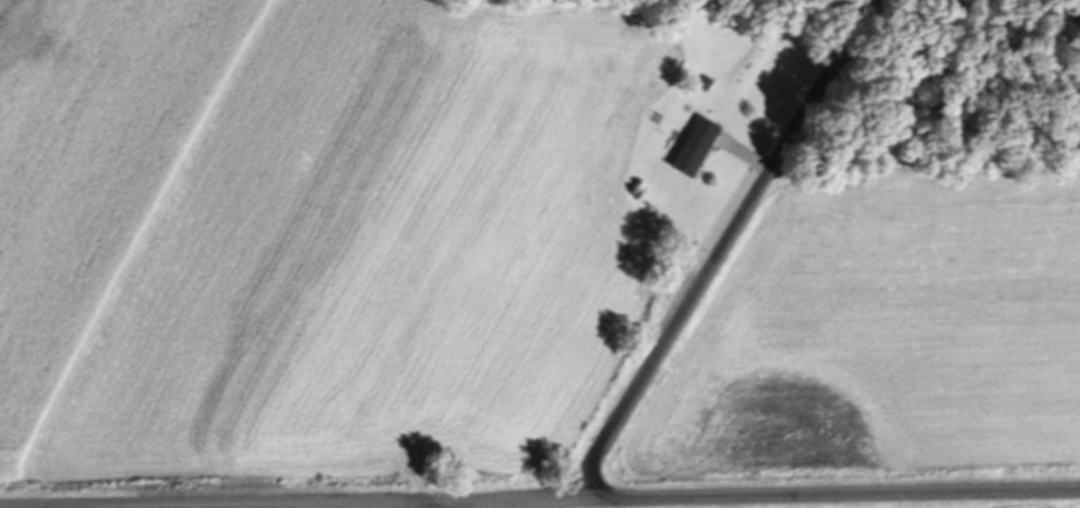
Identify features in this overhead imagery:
building: (694, 149)
road: (723, 246)
road: (540, 500)
road: (447, 505)

